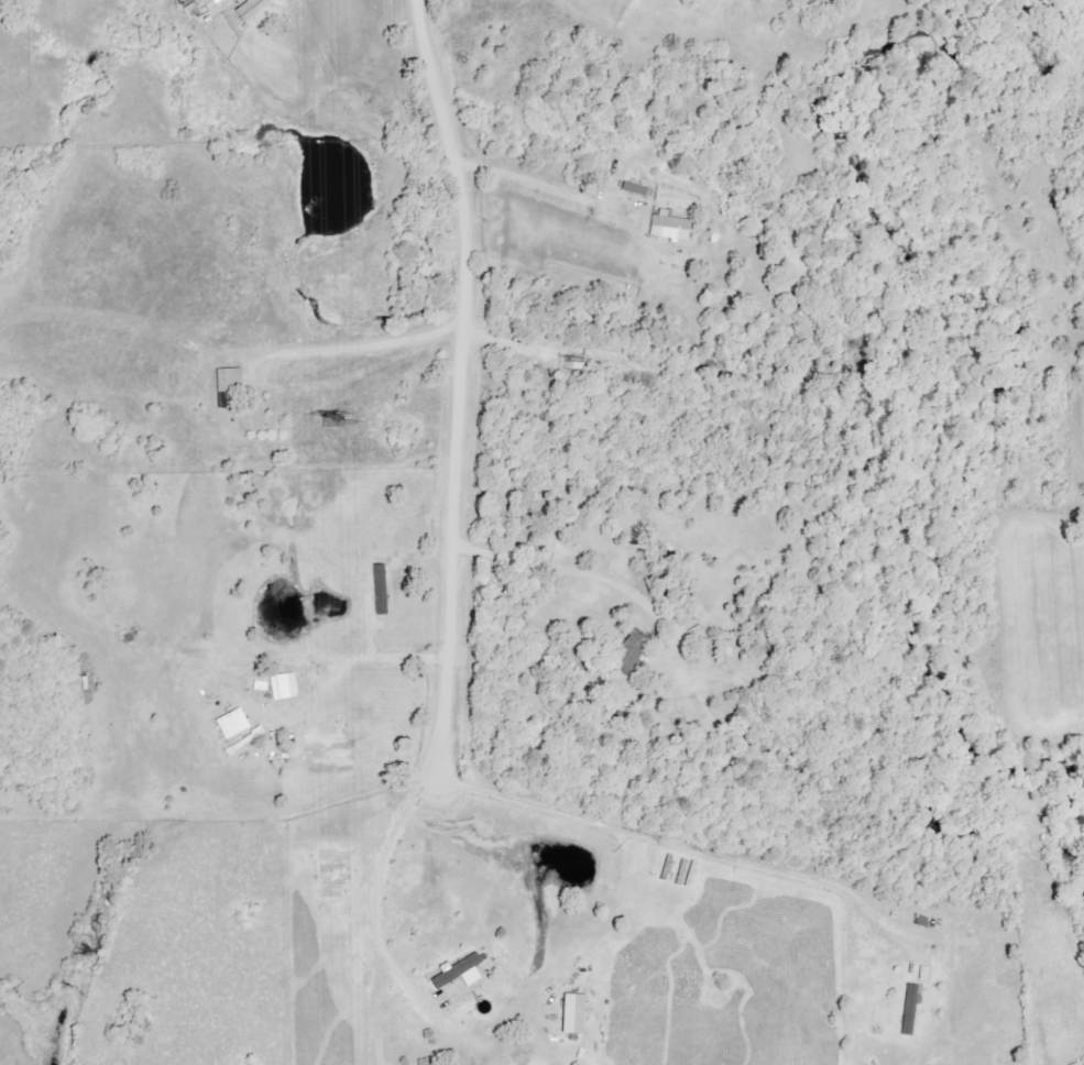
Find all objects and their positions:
building: (252, 12)
building: (634, 188)
building: (668, 226)
building: (231, 378)
road: (457, 386)
power tower: (330, 420)
building: (379, 590)
building: (629, 650)
building: (283, 685)
building: (230, 724)
building: (458, 973)
building: (572, 1014)

